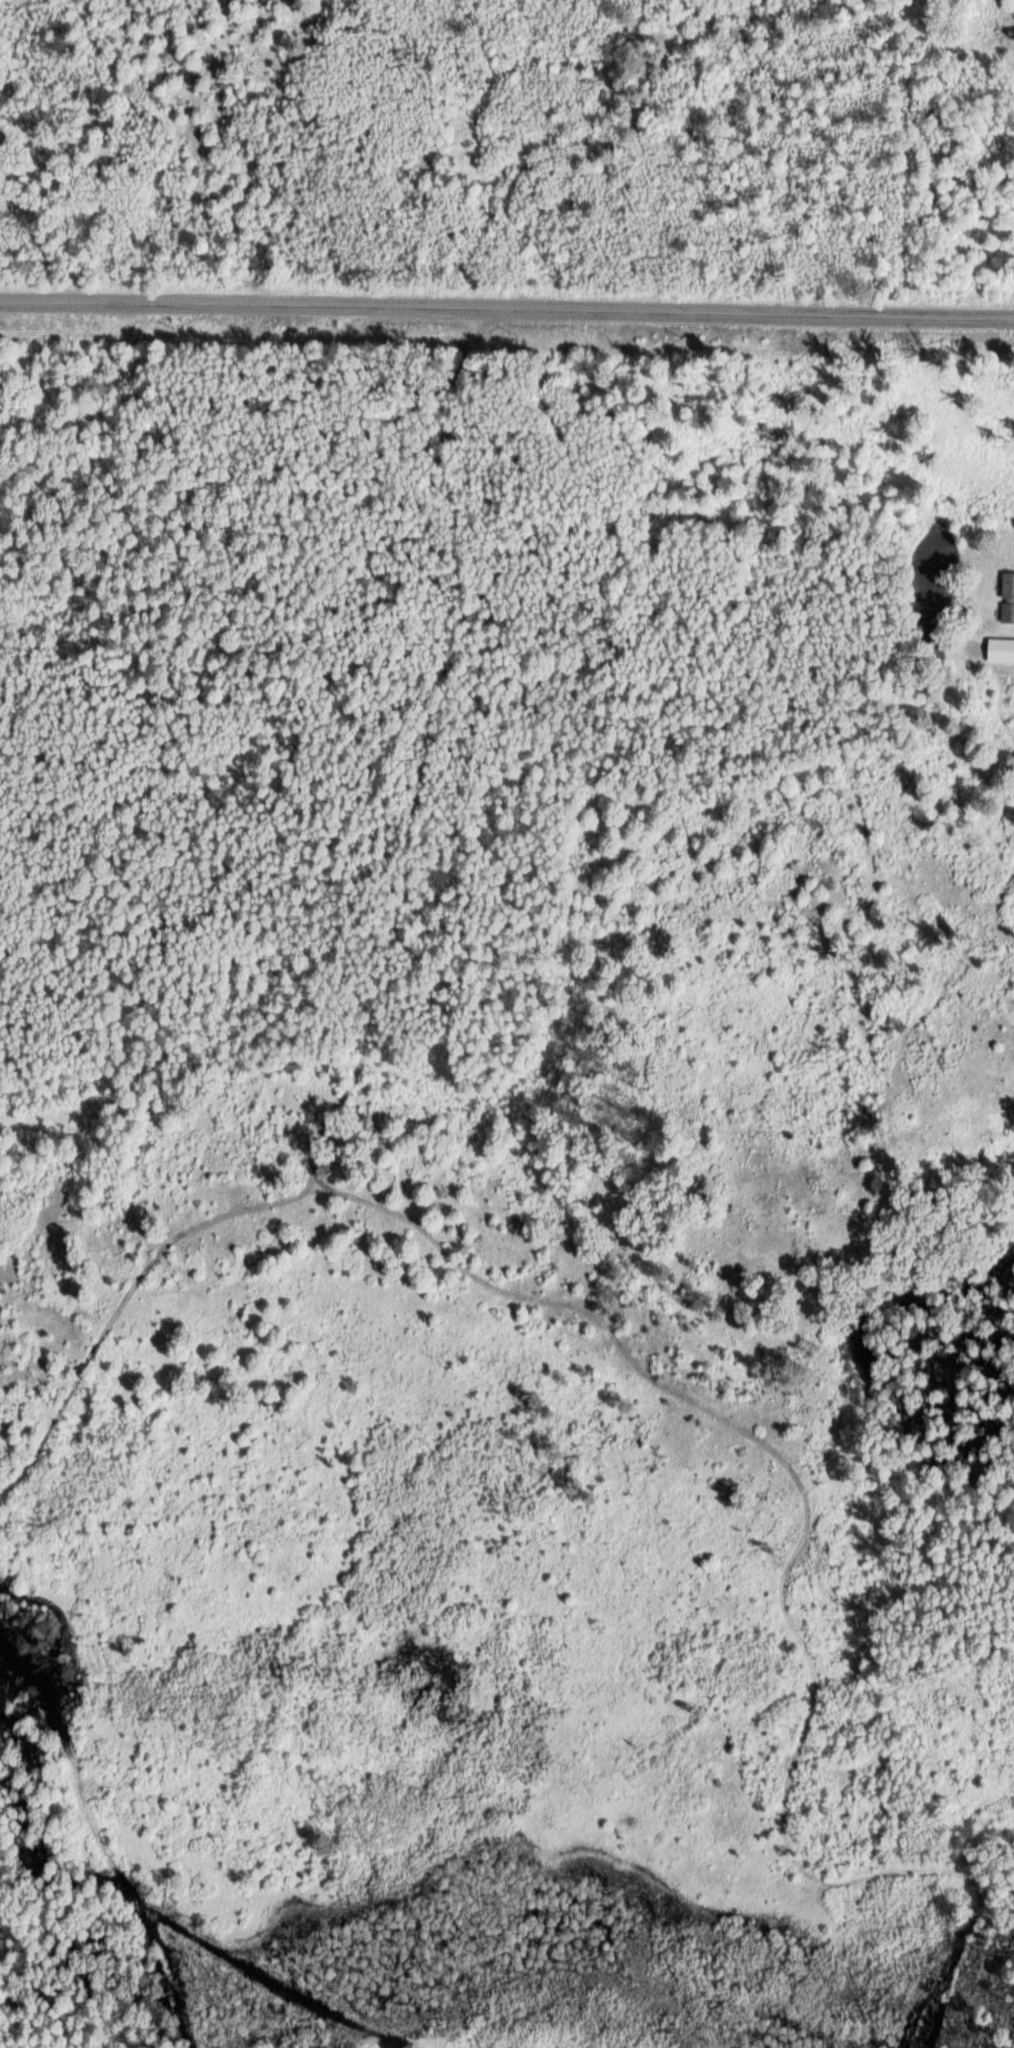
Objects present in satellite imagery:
road: (507, 309)
building: (1008, 597)
building: (1001, 650)

